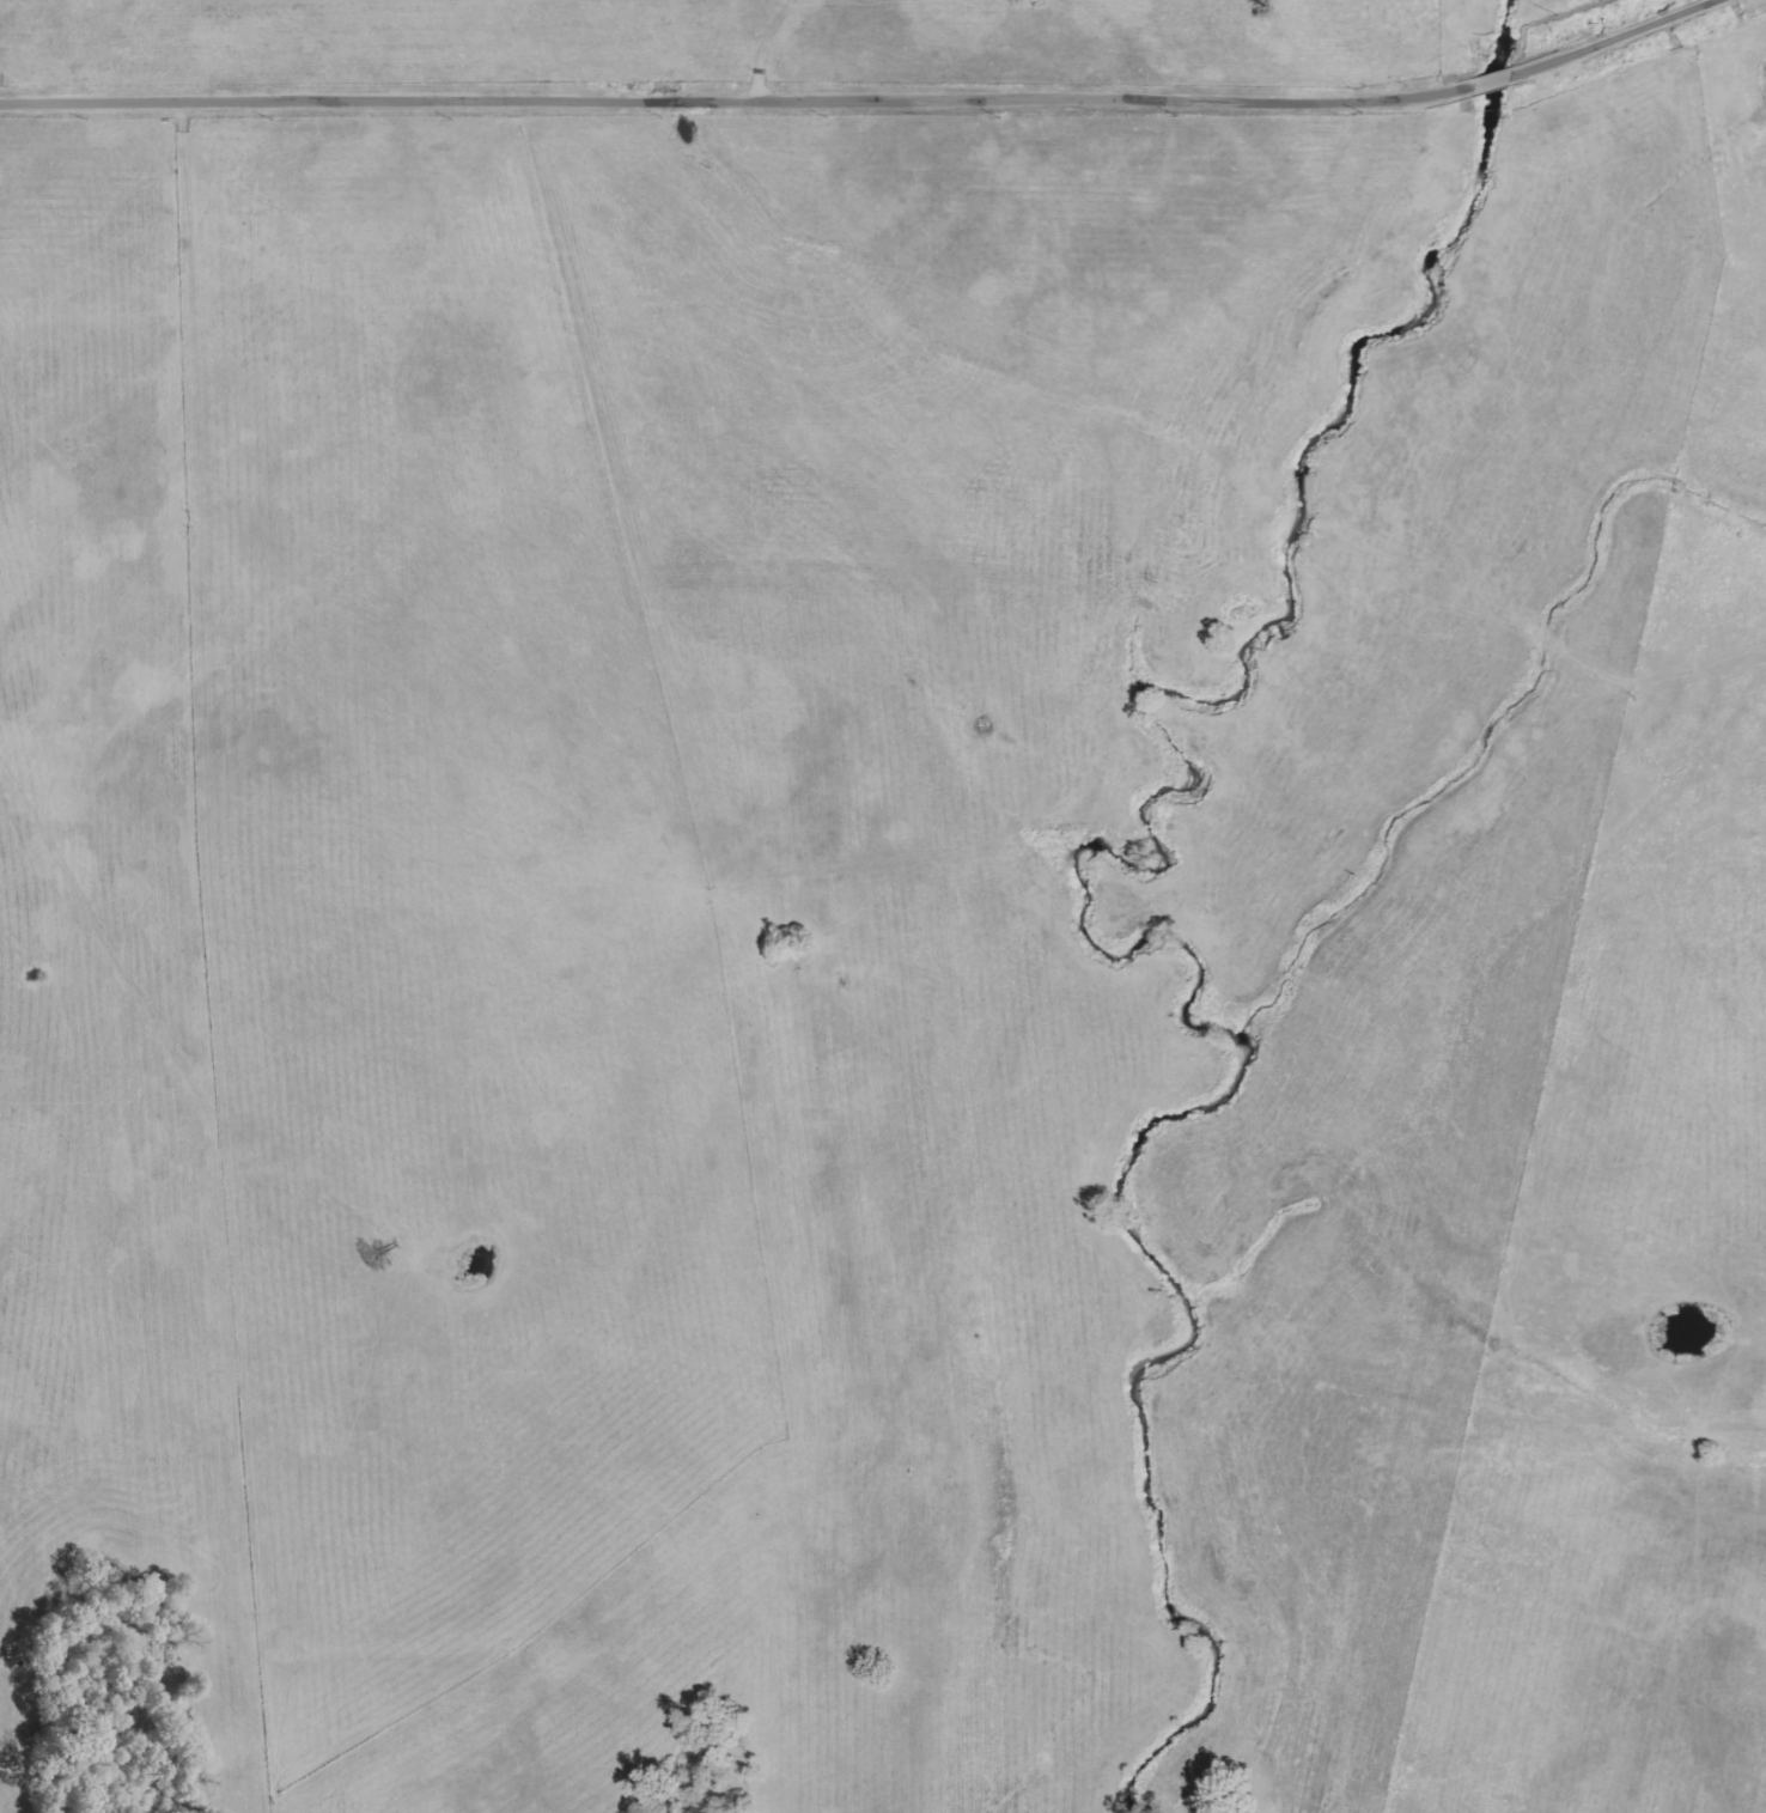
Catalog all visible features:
road: (1618, 38)
road: (1492, 83)
road: (737, 102)

